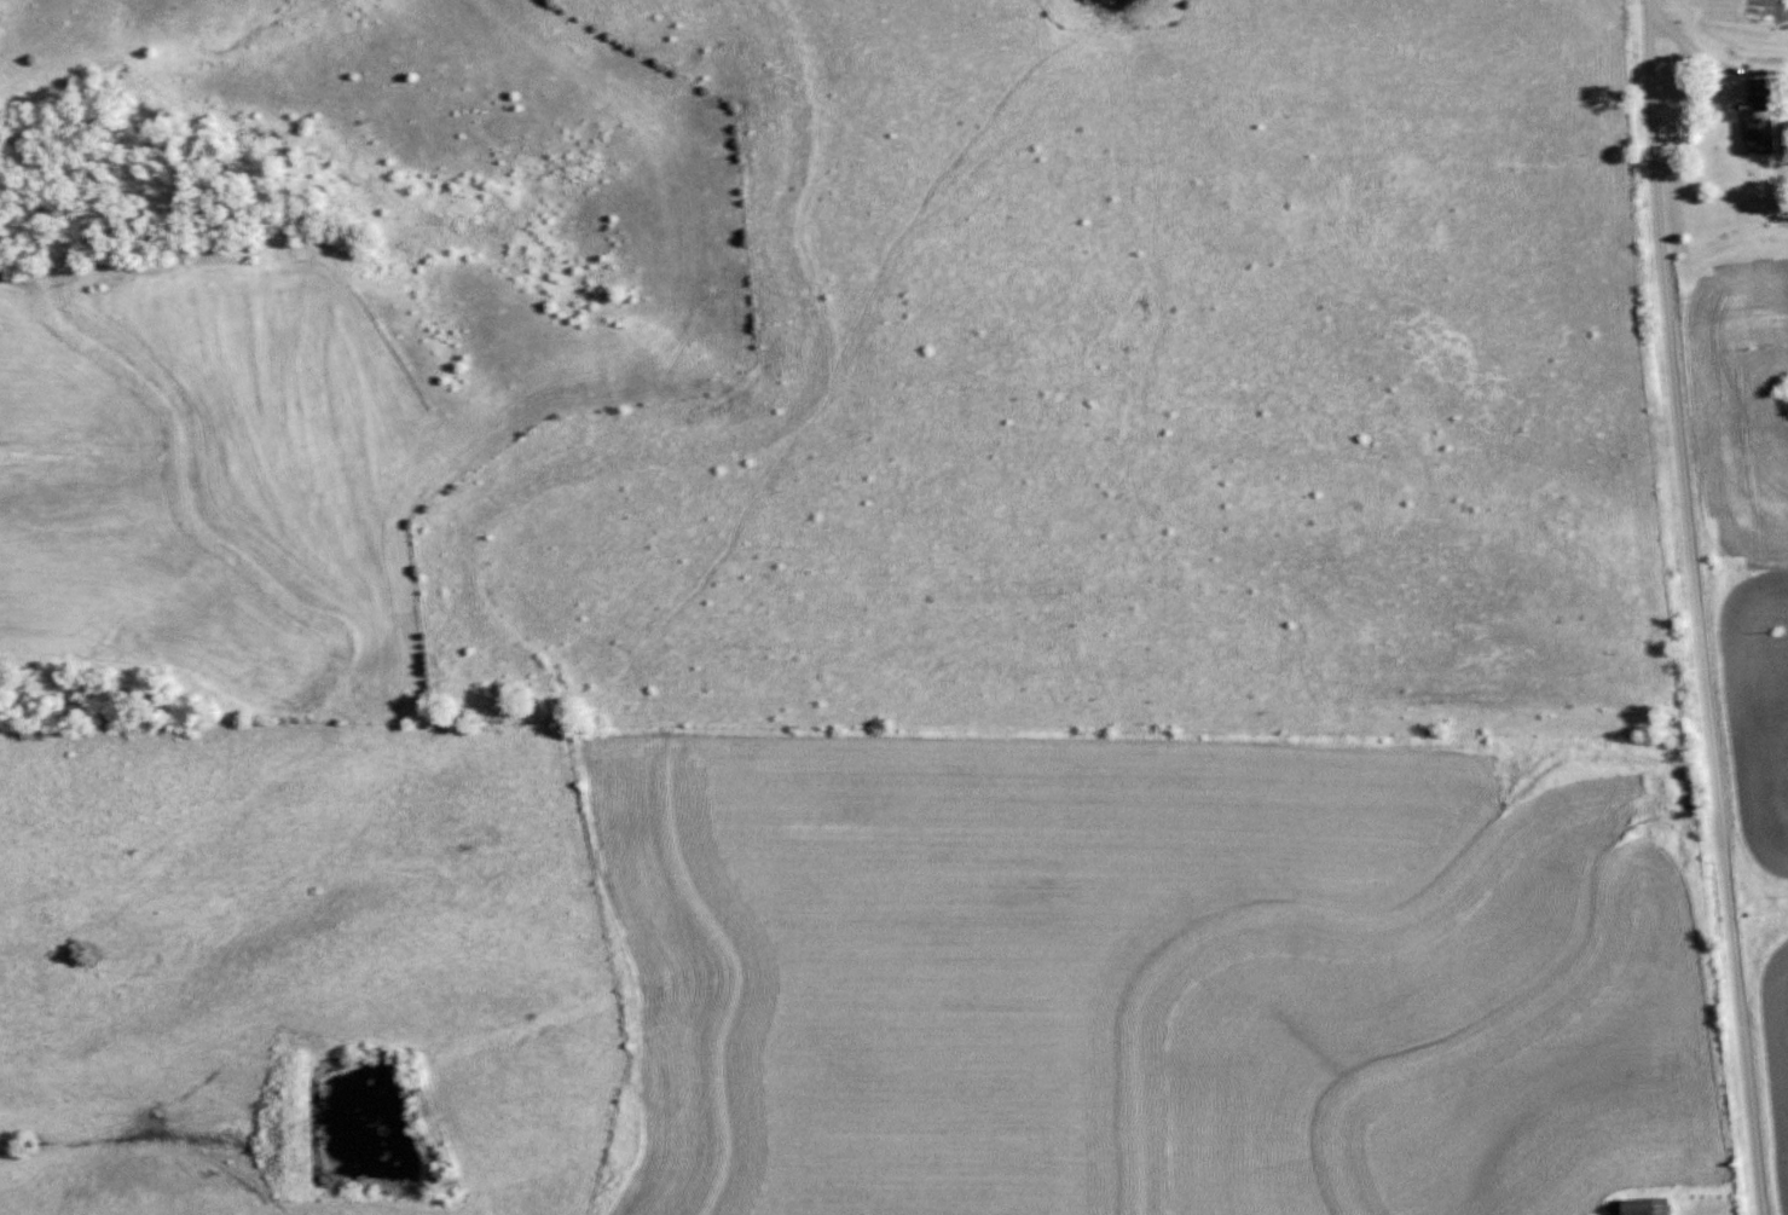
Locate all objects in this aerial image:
building: (1760, 135)
road: (1696, 608)

